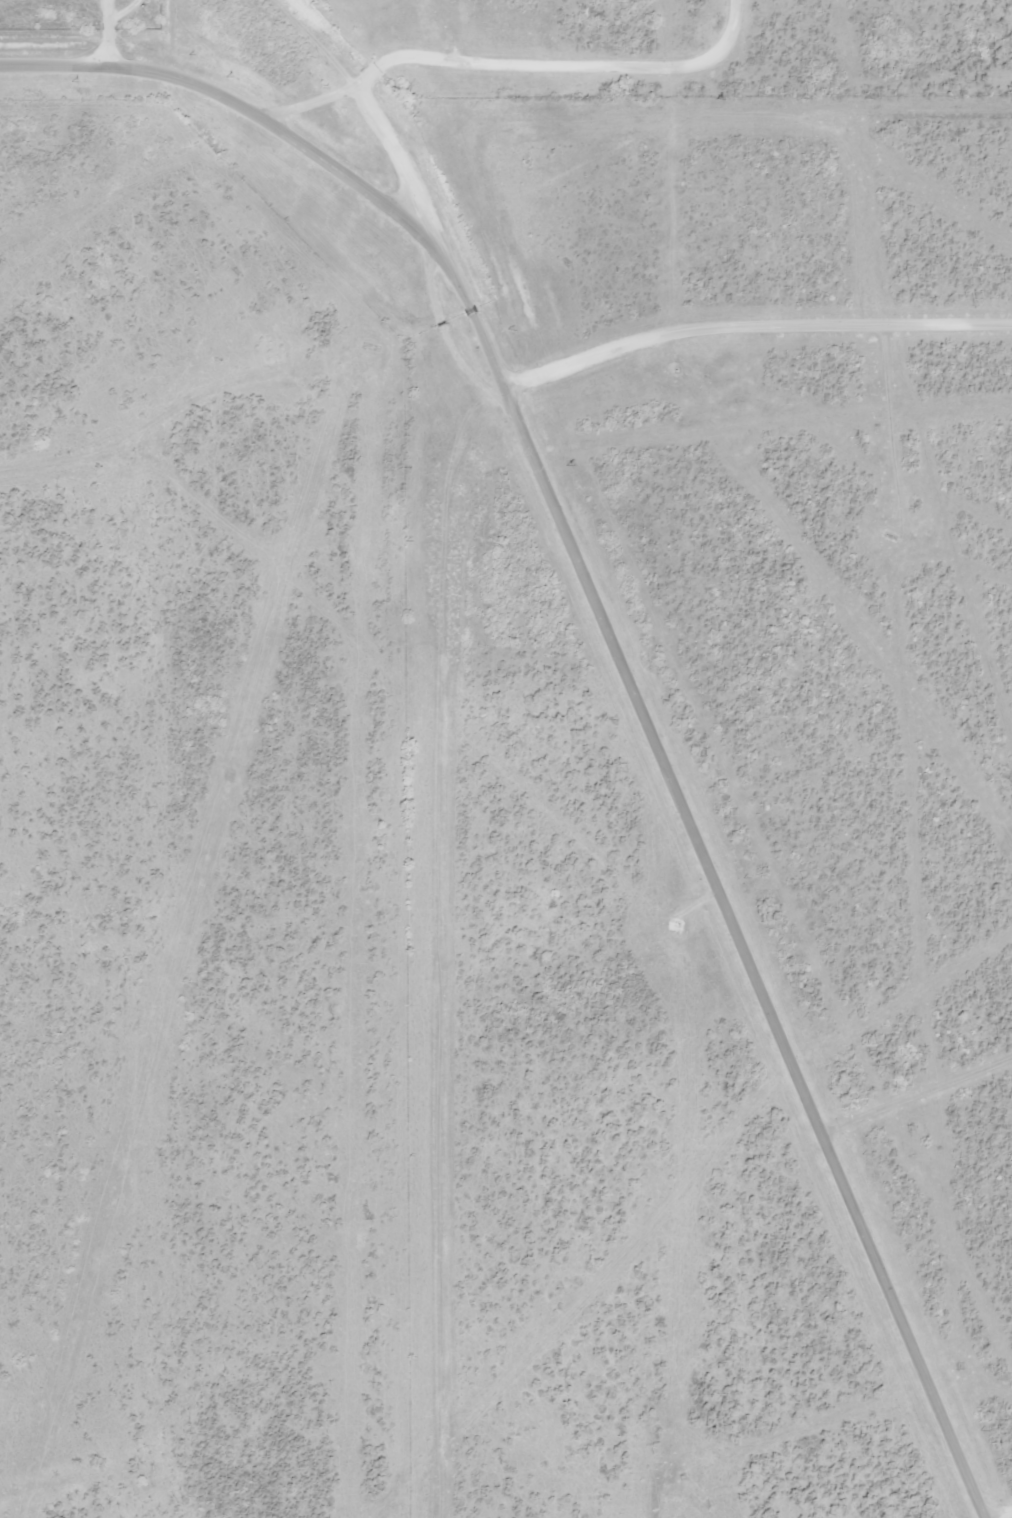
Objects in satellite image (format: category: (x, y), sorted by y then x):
road: (511, 63)
road: (132, 65)
road: (752, 332)
road: (672, 781)
road: (924, 1086)

